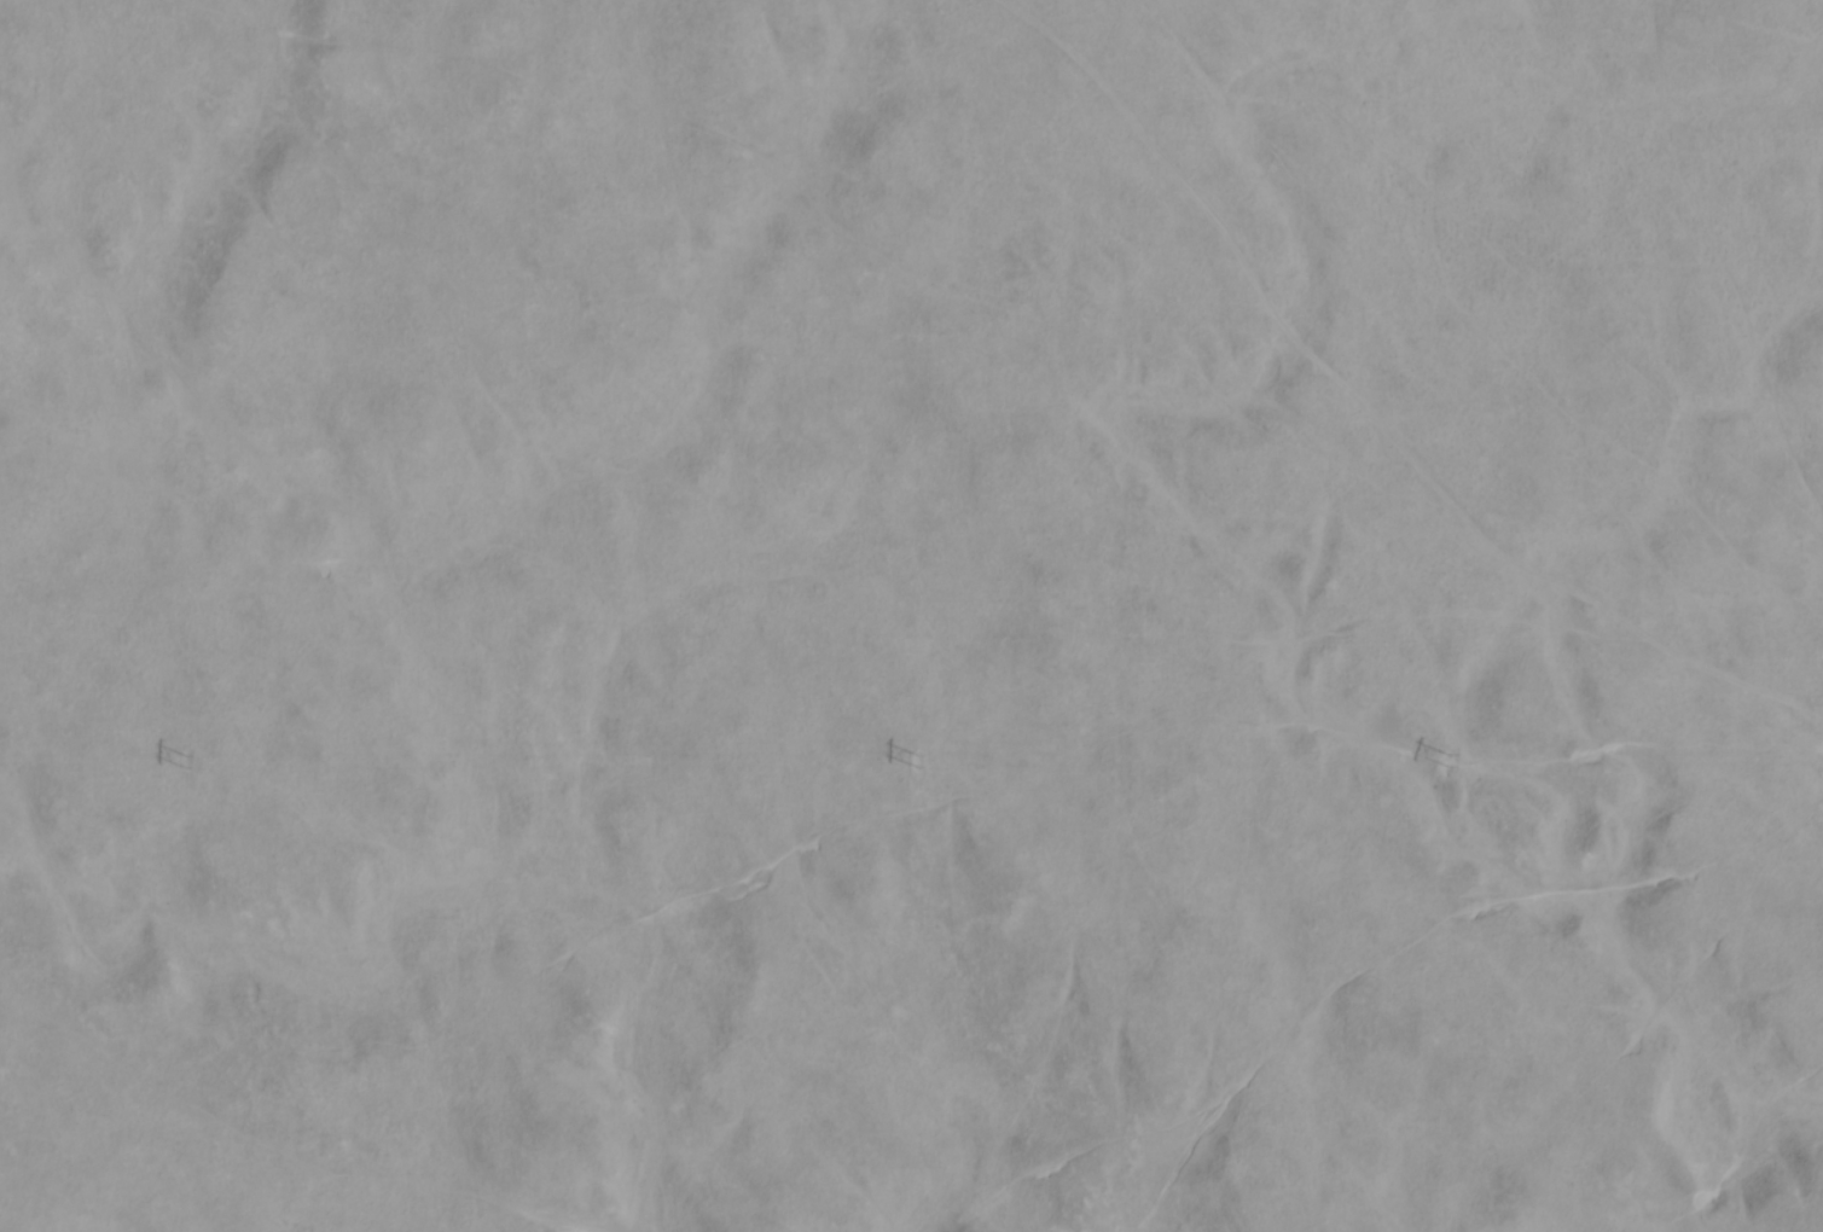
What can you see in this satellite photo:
power tower: (915, 762)
power tower: (1445, 762)
power tower: (184, 763)

